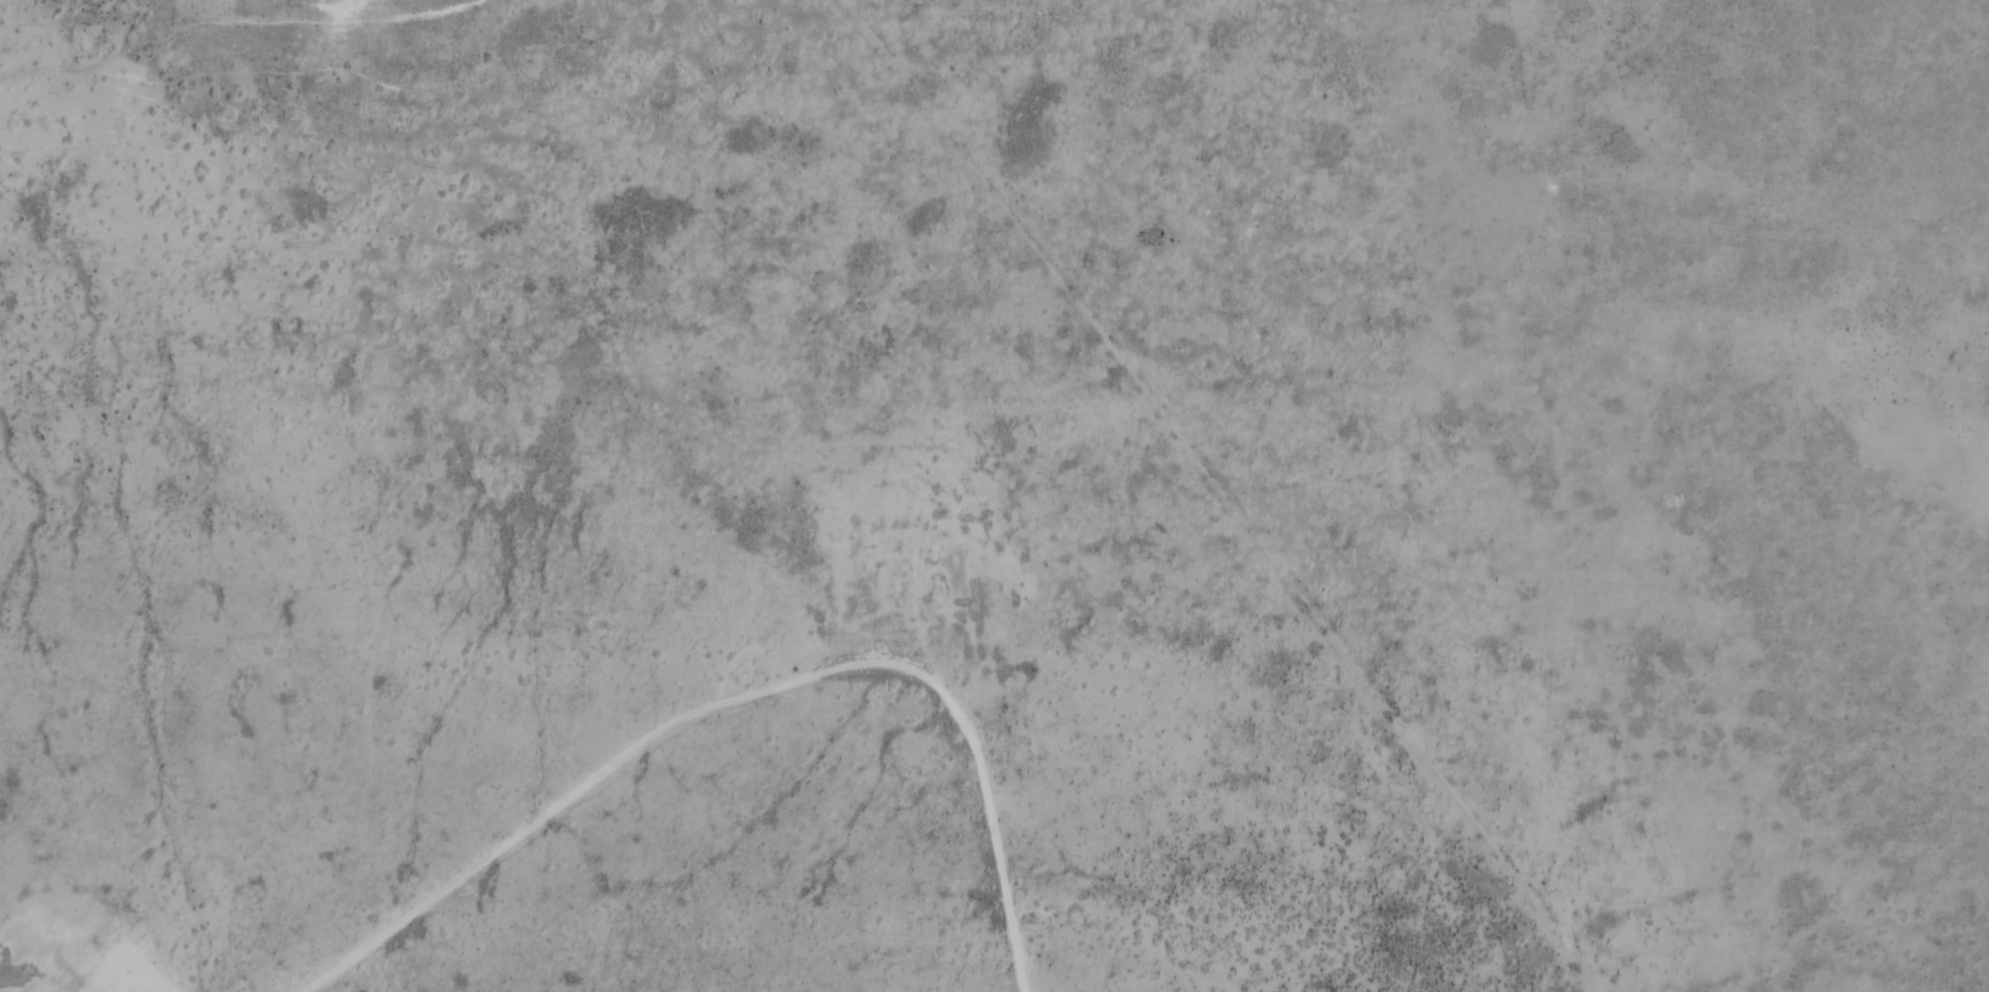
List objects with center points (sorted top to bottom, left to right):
road: (749, 697)

